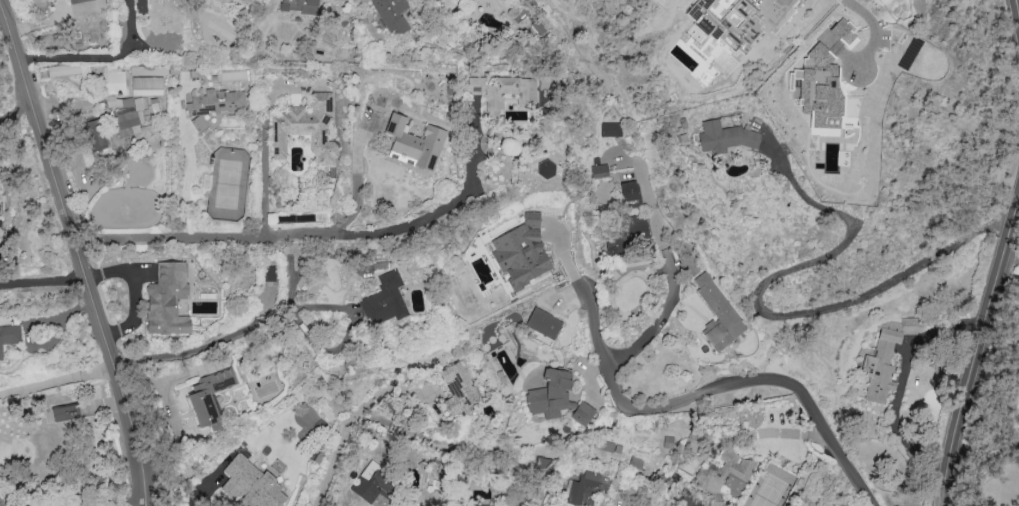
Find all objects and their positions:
road: (764, 0)
building: (76, 1)
building: (298, 5)
building: (141, 6)
building: (391, 14)
building: (843, 31)
road: (97, 57)
building: (146, 85)
building: (818, 88)
building: (501, 92)
building: (216, 101)
road: (16, 111)
building: (123, 114)
building: (306, 128)
building: (610, 129)
building: (94, 134)
building: (725, 139)
building: (413, 142)
road: (267, 157)
building: (545, 168)
building: (598, 170)
road: (186, 189)
building: (629, 192)
road: (358, 201)
building: (624, 234)
road: (314, 237)
road: (77, 252)
building: (520, 252)
road: (1011, 259)
road: (671, 265)
building: (269, 273)
road: (43, 280)
building: (166, 299)
building: (384, 299)
building: (717, 314)
road: (768, 314)
road: (592, 322)
building: (543, 323)
building: (9, 336)
road: (192, 351)
road: (979, 352)
building: (884, 358)
road: (56, 379)
road: (900, 384)
road: (750, 385)
building: (457, 388)
building: (208, 395)
building: (550, 395)
building: (64, 412)
building: (581, 413)
road: (345, 429)
road: (780, 432)
building: (722, 475)
building: (250, 483)
building: (372, 485)
building: (581, 489)
building: (495, 505)

